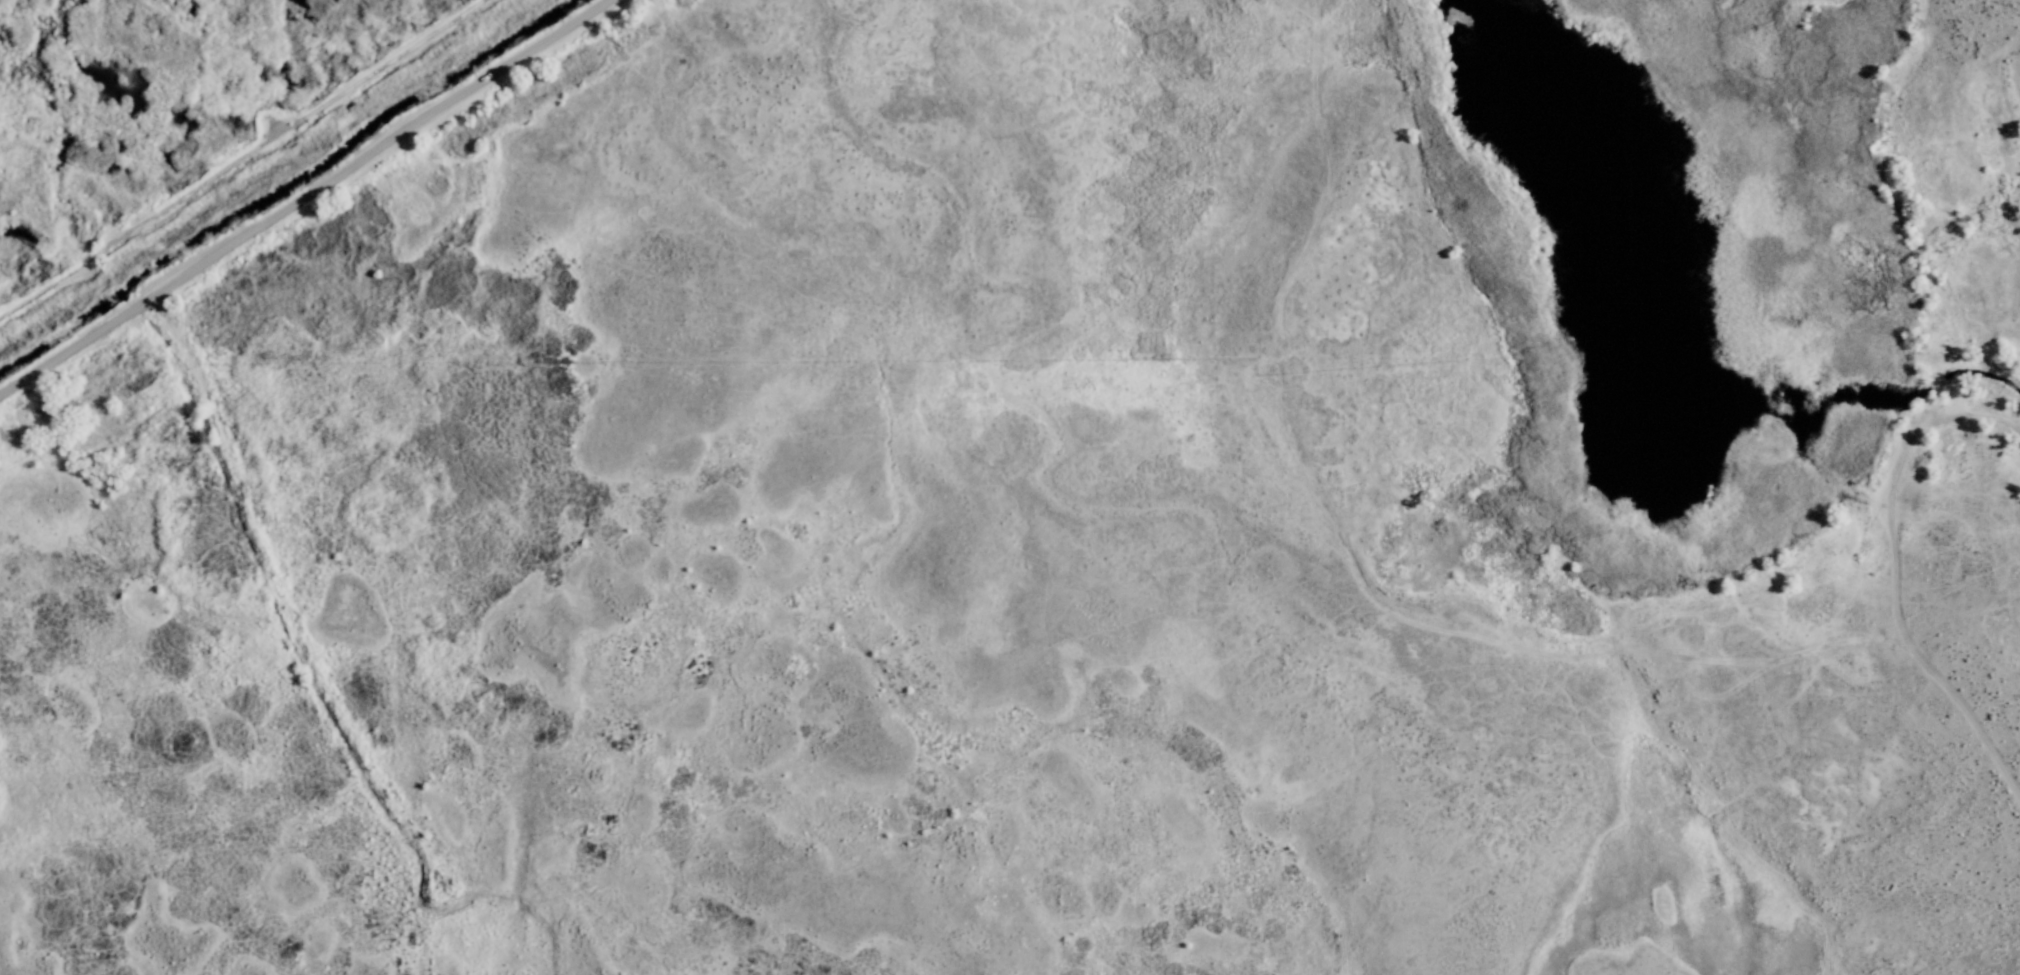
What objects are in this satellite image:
road: (305, 197)
road: (1897, 577)

